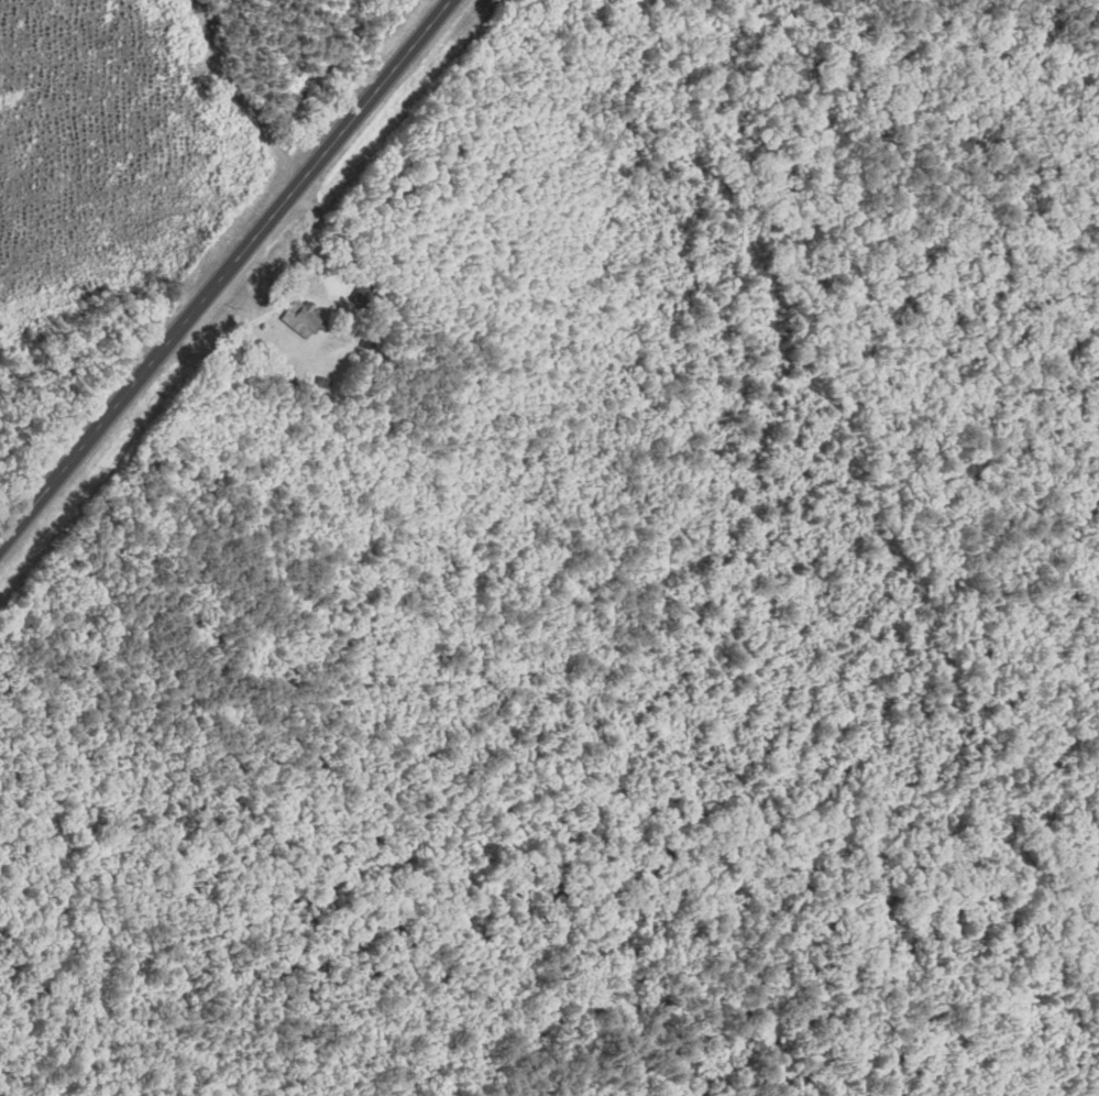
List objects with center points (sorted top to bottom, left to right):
road: (224, 272)
building: (304, 319)

